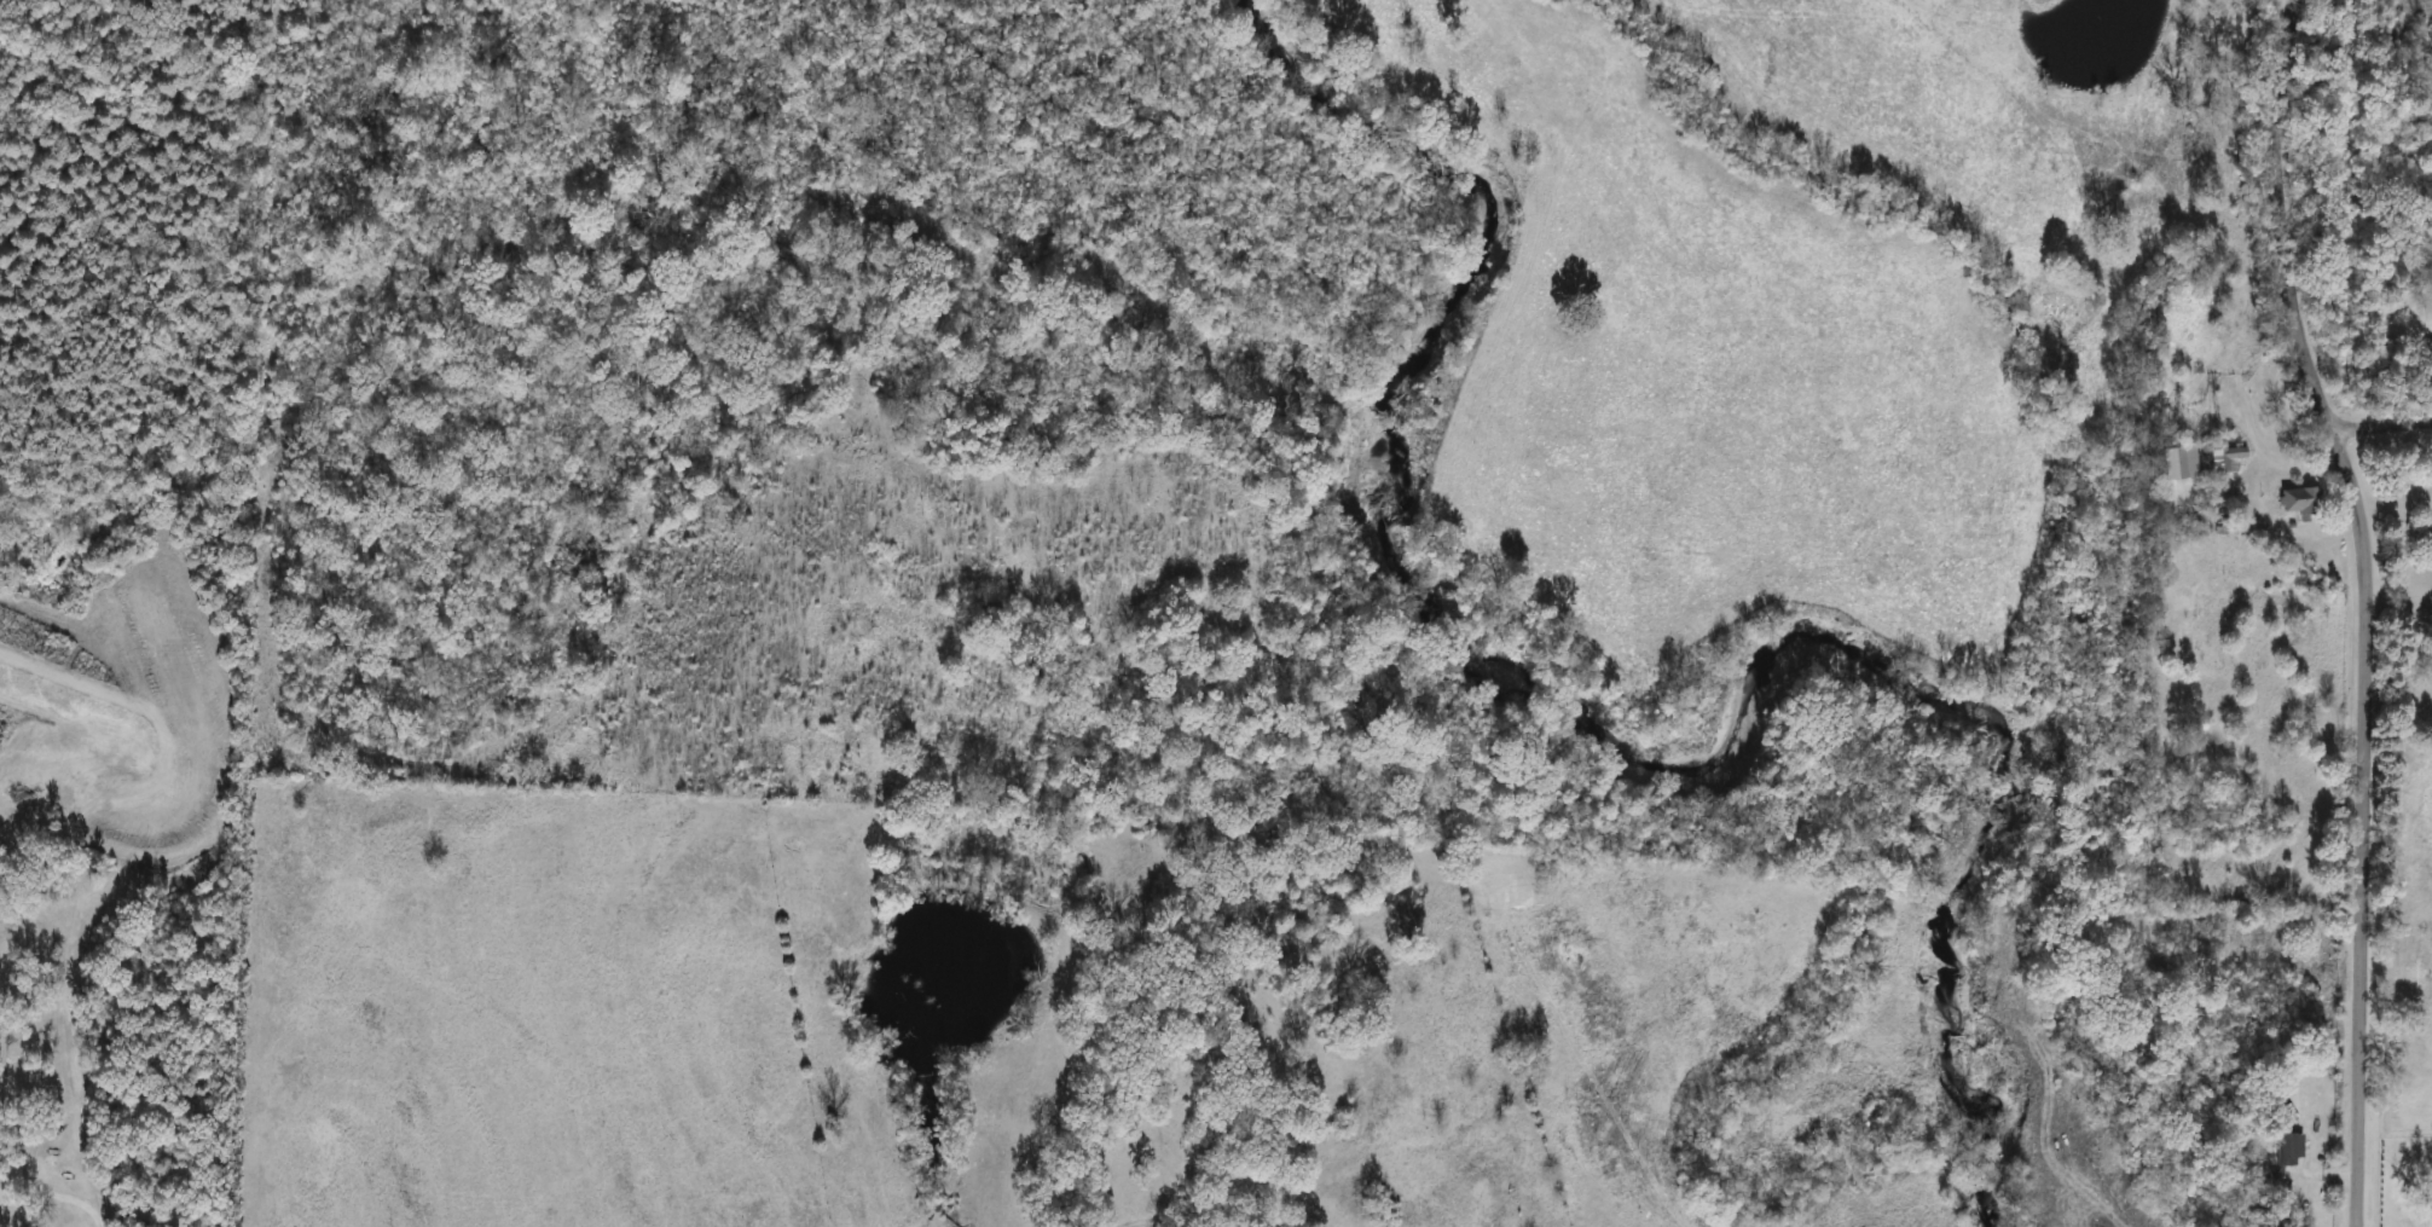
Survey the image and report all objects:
building: (2428, 349)
road: (2381, 428)
building: (2225, 462)
building: (2176, 464)
building: (2299, 502)
road: (2364, 606)
building: (2285, 1151)
road: (58, 1194)

